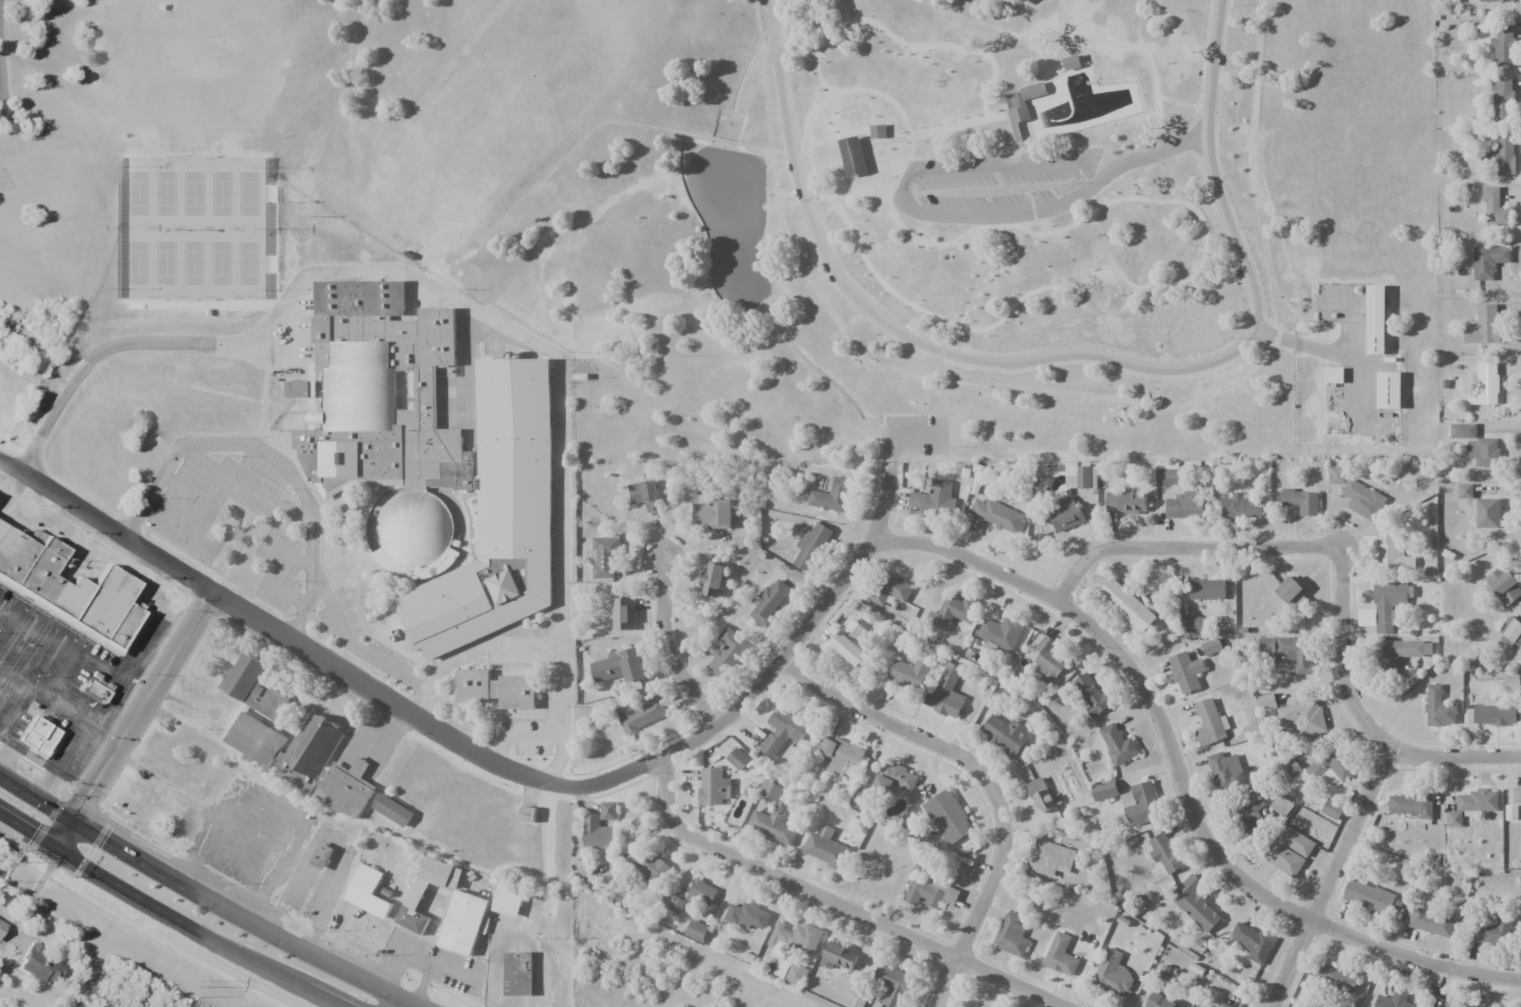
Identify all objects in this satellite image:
building: (1454, 1)
building: (1495, 1)
road: (86, 3)
building: (1504, 47)
road: (0, 78)
building: (1034, 91)
building: (1503, 100)
building: (1015, 121)
road: (839, 124)
building: (878, 131)
road: (725, 141)
road: (578, 142)
dam: (723, 148)
road: (763, 148)
road: (896, 148)
road: (1148, 153)
road: (794, 154)
building: (1504, 154)
road: (952, 155)
park: (1316, 172)
parking lot: (1001, 178)
road: (904, 191)
road: (778, 196)
park: (814, 205)
building: (1495, 208)
road: (1032, 210)
road: (1017, 225)
building: (1059, 254)
building: (1028, 261)
building: (1488, 261)
road: (1052, 273)
road: (977, 281)
parking lot: (1339, 304)
road: (1347, 317)
building: (1376, 319)
building: (1484, 326)
road: (944, 349)
road: (1062, 354)
road: (1339, 355)
road: (1247, 373)
building: (1334, 375)
road: (928, 384)
building: (1484, 384)
building: (303, 390)
building: (1389, 390)
building: (1463, 430)
road: (903, 435)
parking lot: (914, 435)
building: (1484, 451)
building: (433, 462)
building: (1167, 473)
building: (1081, 475)
building: (1337, 475)
building: (1465, 491)
building: (646, 495)
building: (831, 495)
building: (935, 500)
building: (1363, 500)
building: (1302, 501)
building: (1126, 502)
building: (1185, 505)
building: (1241, 506)
building: (1488, 513)
building: (715, 514)
building: (998, 515)
building: (1063, 516)
road: (1300, 543)
building: (811, 547)
building: (1393, 552)
building: (605, 557)
building: (713, 579)
building: (1504, 586)
building: (67, 587)
building: (1208, 589)
building: (892, 590)
building: (1292, 594)
building: (770, 604)
building: (1390, 604)
building: (1130, 605)
building: (952, 612)
building: (623, 614)
building: (1366, 617)
building: (1193, 624)
building: (1512, 629)
building: (1001, 632)
building: (850, 644)
building: (1211, 646)
road: (671, 650)
building: (1290, 651)
building: (1405, 651)
building: (728, 653)
building: (1049, 660)
building: (620, 667)
building: (1186, 671)
building: (909, 673)
building: (242, 677)
building: (496, 689)
building: (947, 692)
building: (1092, 695)
building: (266, 700)
building: (1266, 700)
building: (1439, 708)
building: (641, 715)
building: (1495, 715)
building: (1304, 717)
road: (134, 722)
building: (1210, 723)
building: (783, 731)
building: (1005, 734)
building: (37, 735)
building: (254, 739)
building: (314, 744)
building: (1118, 745)
road: (1455, 754)
building: (836, 755)
road: (490, 759)
building: (738, 759)
building: (1332, 767)
building: (1226, 772)
road: (1183, 778)
building: (895, 779)
road: (989, 783)
building: (714, 786)
building: (346, 788)
building: (1104, 791)
building: (1042, 795)
building: (1516, 795)
traffic signals: (86, 801)
building: (1141, 804)
building: (1282, 805)
building: (1412, 805)
building: (1471, 805)
building: (1332, 809)
building: (1248, 813)
building: (948, 817)
building: (772, 818)
building: (597, 833)
traffic signals: (33, 835)
traffic signals: (105, 841)
building: (825, 850)
building: (1289, 850)
building: (1164, 853)
power tower: (4, 856)
building: (319, 856)
building: (1051, 858)
building: (649, 868)
road: (1332, 876)
building: (931, 893)
road: (203, 895)
building: (694, 896)
building: (1373, 898)
road: (842, 902)
building: (1195, 904)
building: (414, 910)
road: (170, 914)
building: (748, 916)
building: (1431, 922)
building: (463, 923)
building: (696, 931)
building: (1493, 932)
building: (1012, 935)
building: (797, 937)
building: (1253, 941)
building: (1061, 955)
building: (839, 957)
building: (39, 965)
building: (1114, 974)
building: (1337, 978)
power tower: (205, 980)
building: (892, 984)
building: (1394, 999)
building: (1161, 1001)
road: (388, 1002)
building: (1224, 1005)
building: (1426, 1006)
building: (1450, 1006)

